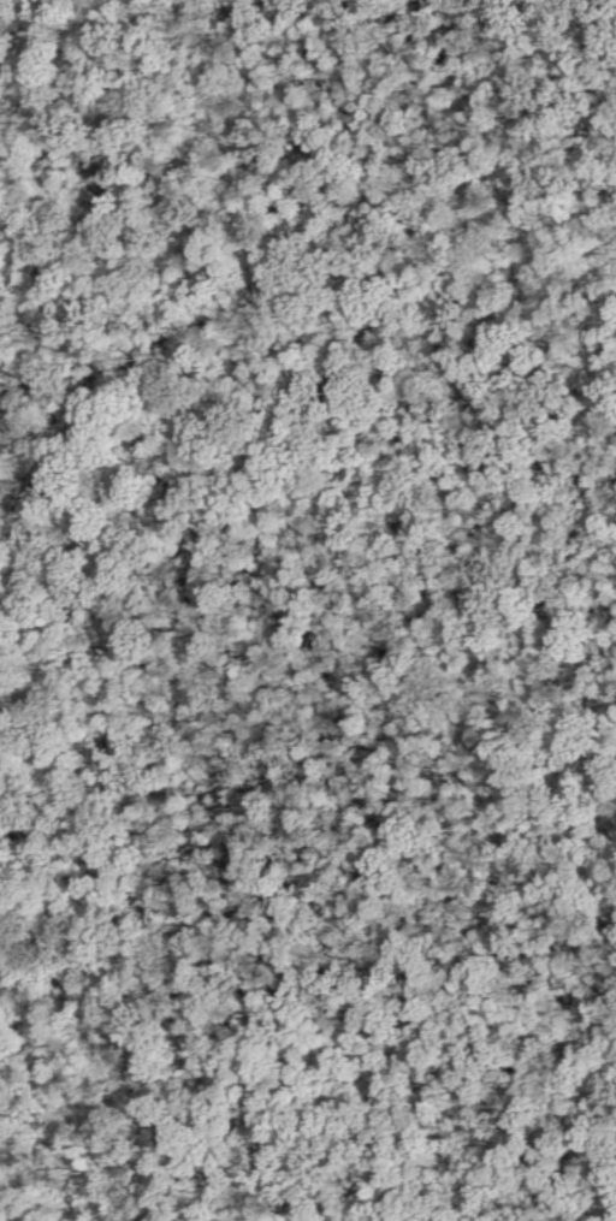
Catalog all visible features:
park: (308, 610)

